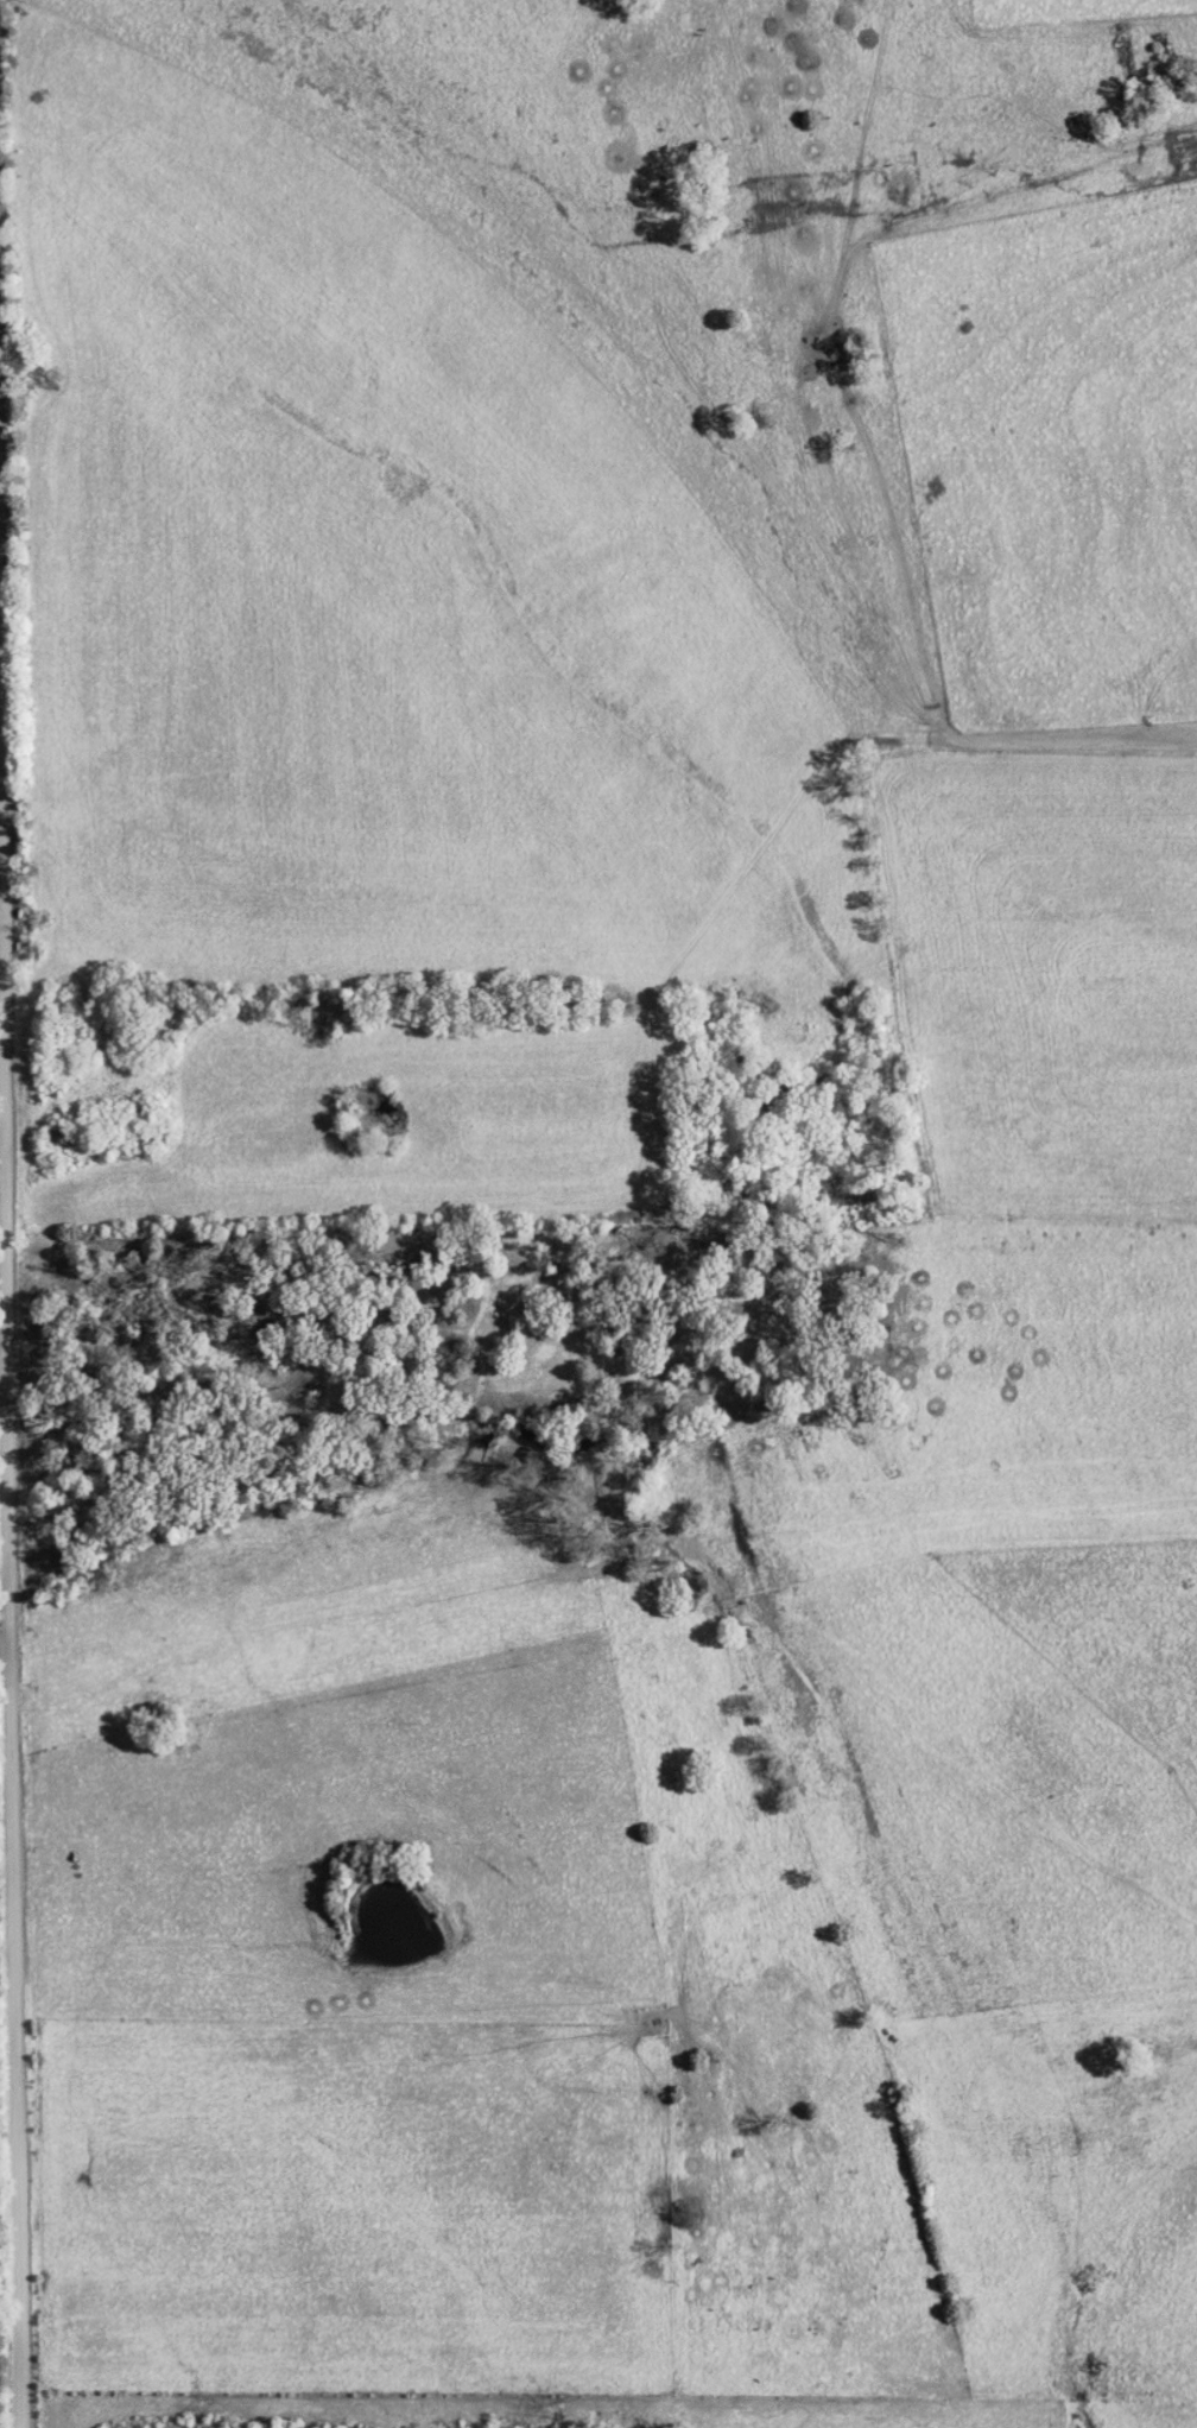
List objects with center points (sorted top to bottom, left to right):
road: (5, 1383)

